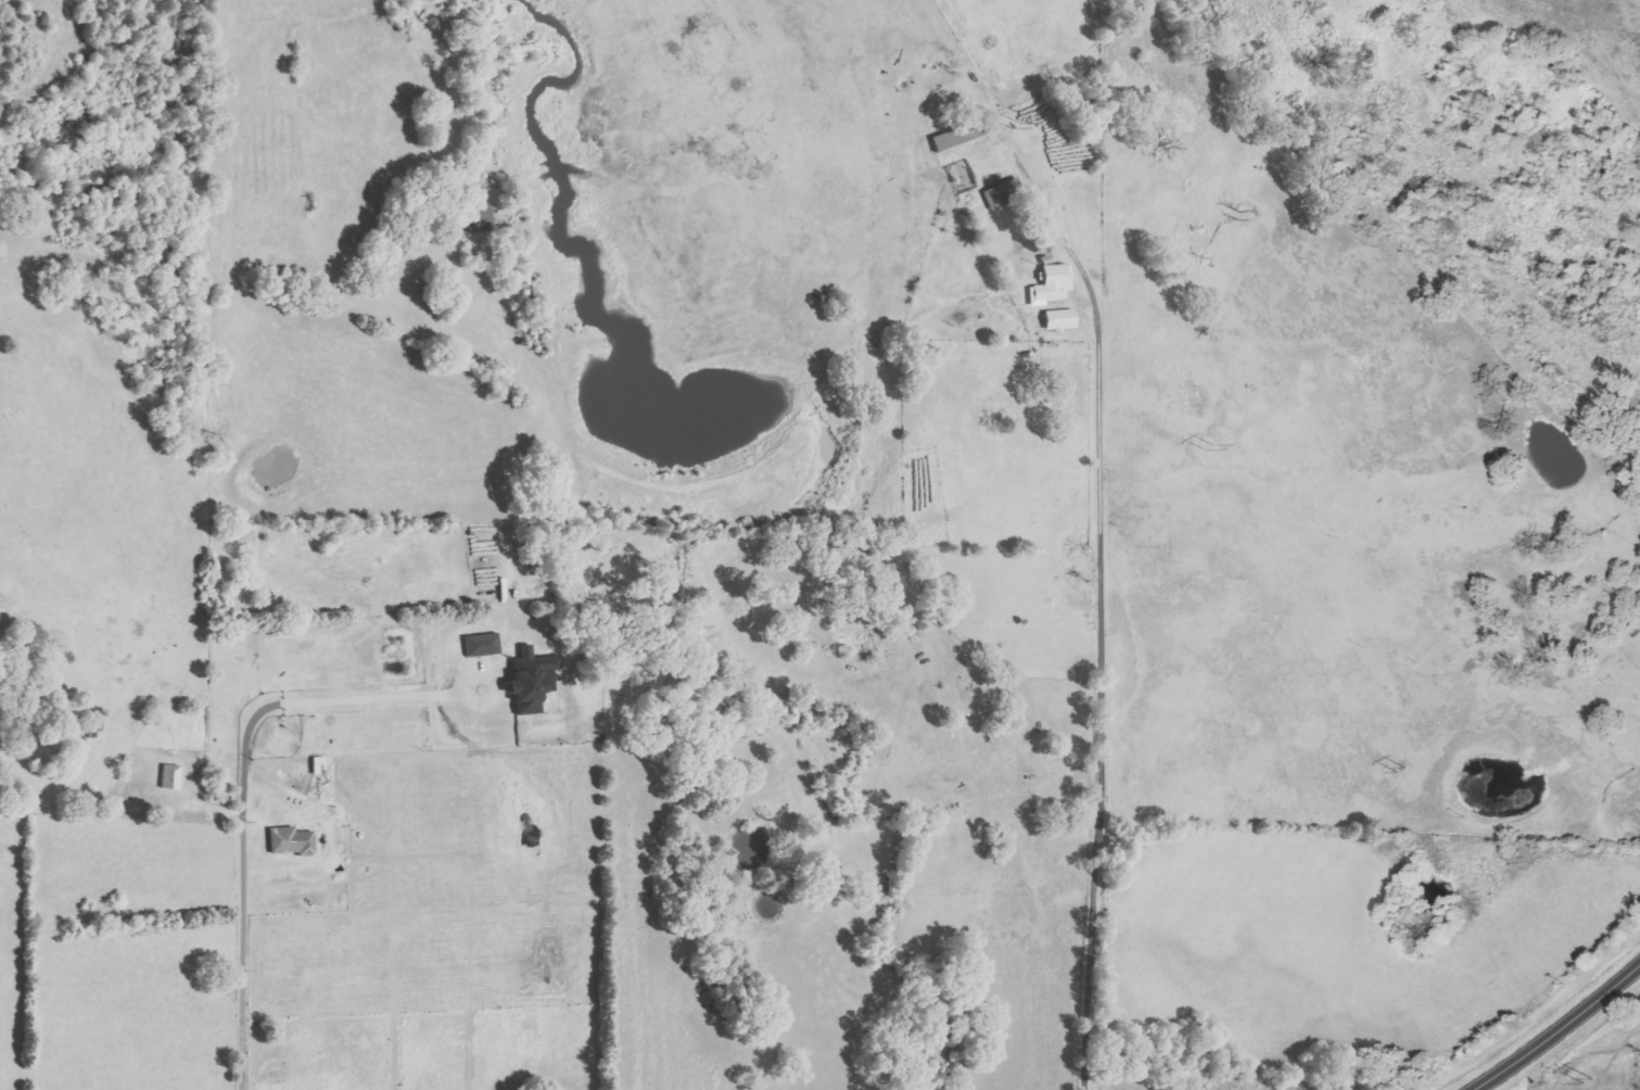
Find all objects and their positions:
building: (959, 137)
building: (1003, 193)
building: (1057, 281)
building: (1063, 320)
building: (484, 645)
building: (535, 680)
road: (1101, 697)
building: (320, 766)
building: (173, 777)
building: (294, 841)
road: (246, 959)
road: (1560, 1031)

